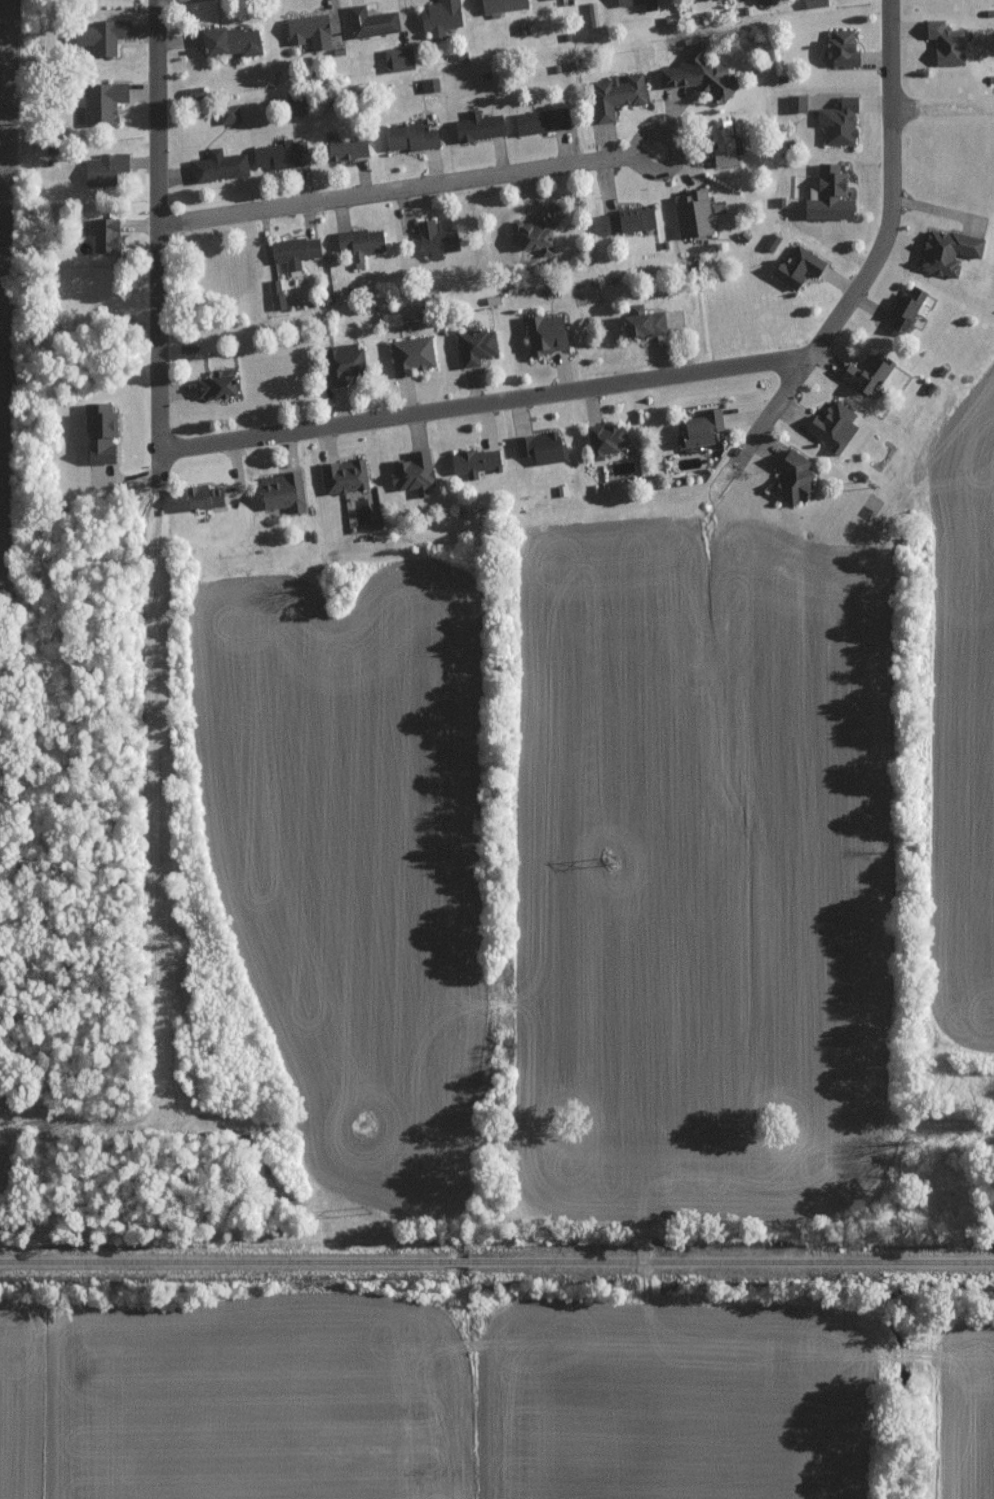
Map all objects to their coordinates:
building: (546, 0)
building: (636, 3)
building: (812, 3)
building: (501, 5)
building: (438, 17)
building: (369, 22)
building: (307, 31)
building: (99, 36)
building: (227, 42)
building: (944, 43)
building: (840, 49)
building: (396, 59)
building: (697, 74)
building: (428, 84)
building: (192, 93)
building: (613, 95)
building: (100, 102)
building: (293, 104)
building: (795, 104)
building: (226, 114)
building: (539, 121)
building: (837, 122)
building: (477, 126)
building: (408, 137)
building: (722, 146)
building: (345, 150)
building: (273, 155)
building: (217, 166)
building: (102, 168)
road: (455, 182)
road: (890, 193)
building: (827, 196)
building: (692, 213)
building: (626, 220)
road: (154, 223)
building: (534, 231)
building: (103, 236)
building: (433, 240)
building: (770, 242)
building: (358, 243)
building: (946, 250)
building: (293, 253)
building: (796, 266)
building: (275, 294)
building: (904, 309)
building: (641, 321)
building: (544, 333)
building: (474, 346)
building: (410, 354)
building: (341, 362)
building: (863, 372)
building: (212, 384)
road: (482, 405)
road: (776, 408)
building: (832, 424)
building: (699, 427)
building: (96, 432)
building: (603, 439)
building: (539, 447)
building: (473, 461)
building: (412, 472)
building: (342, 476)
building: (790, 476)
building: (280, 491)
building: (199, 495)
railway: (496, 1262)

